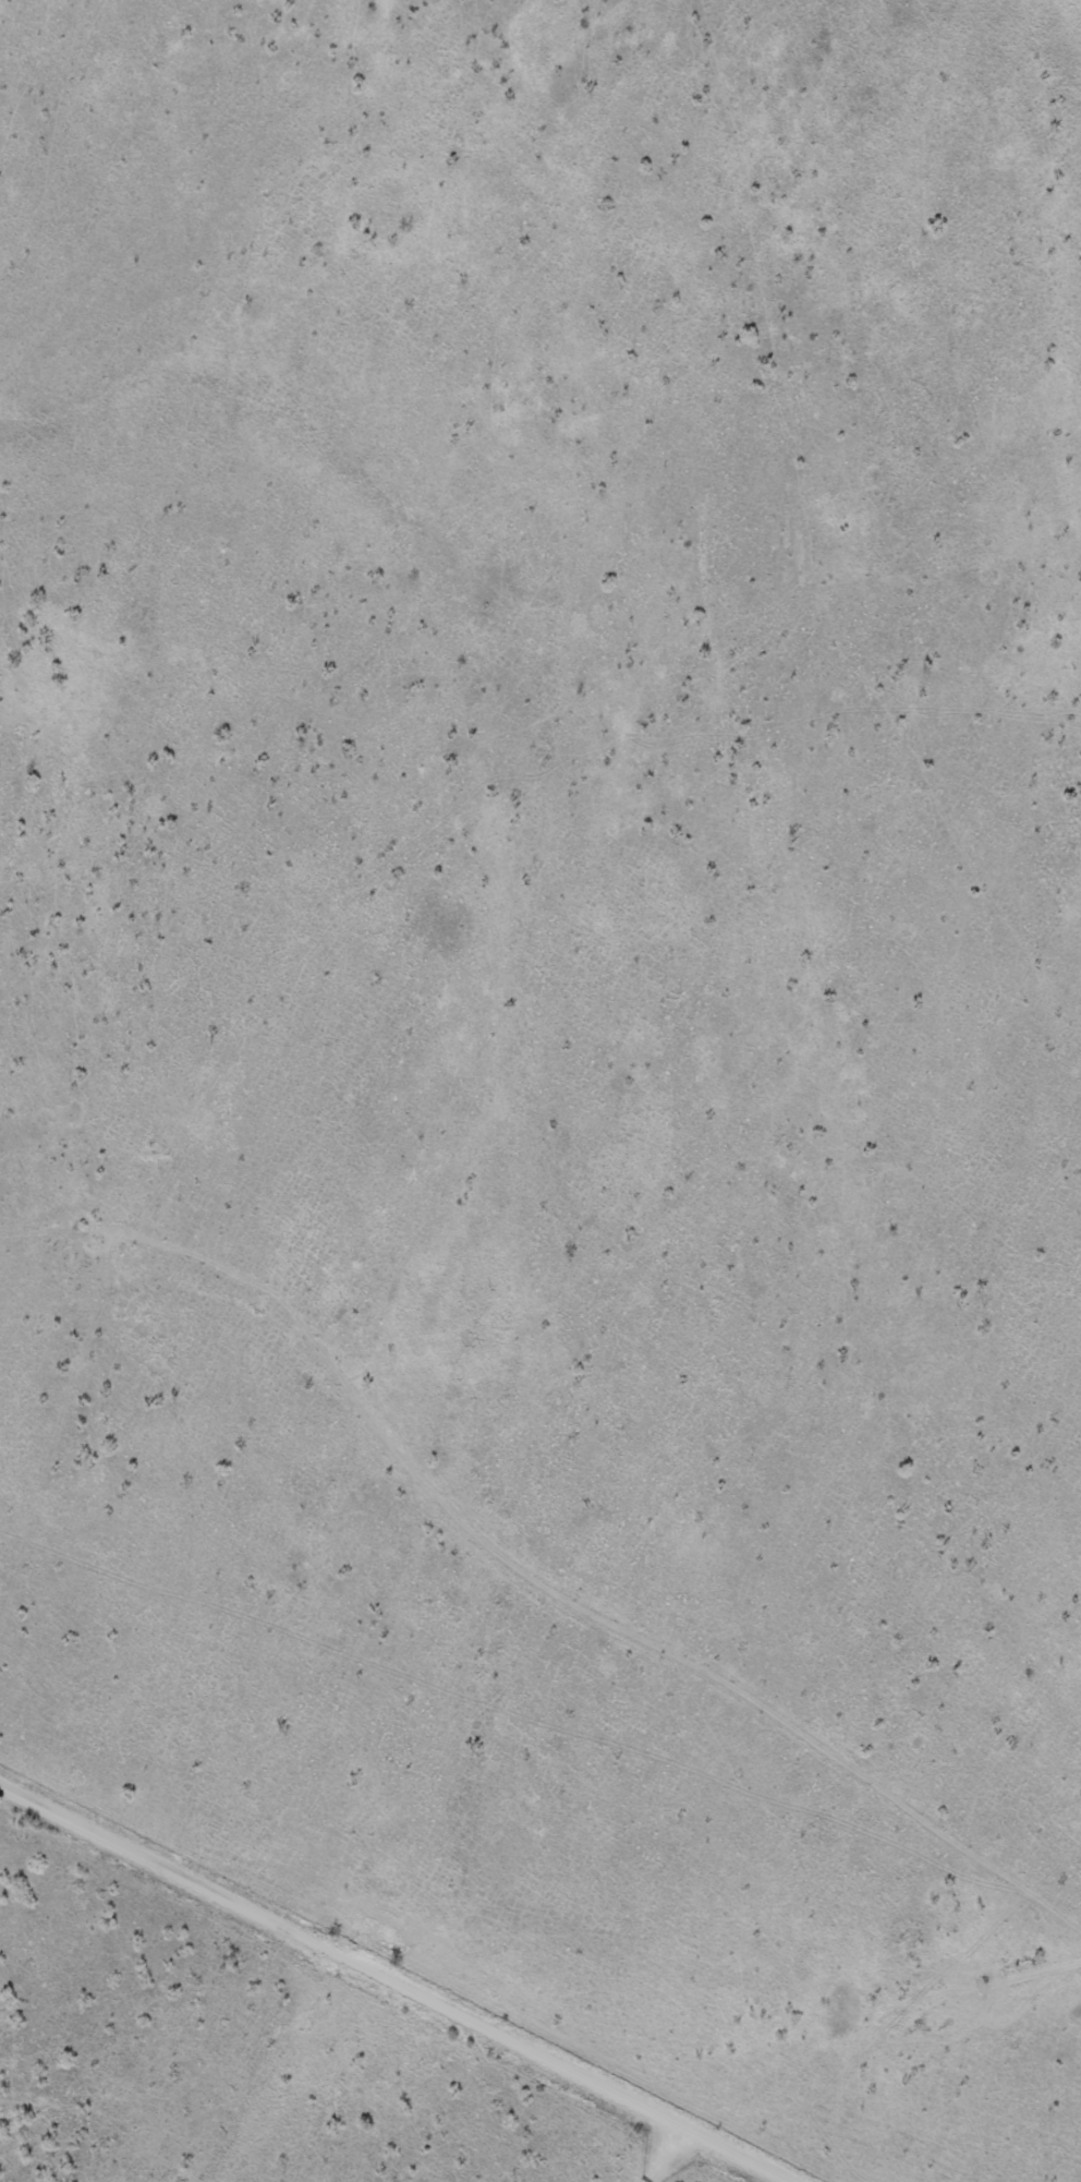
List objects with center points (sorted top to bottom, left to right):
road: (386, 1987)

